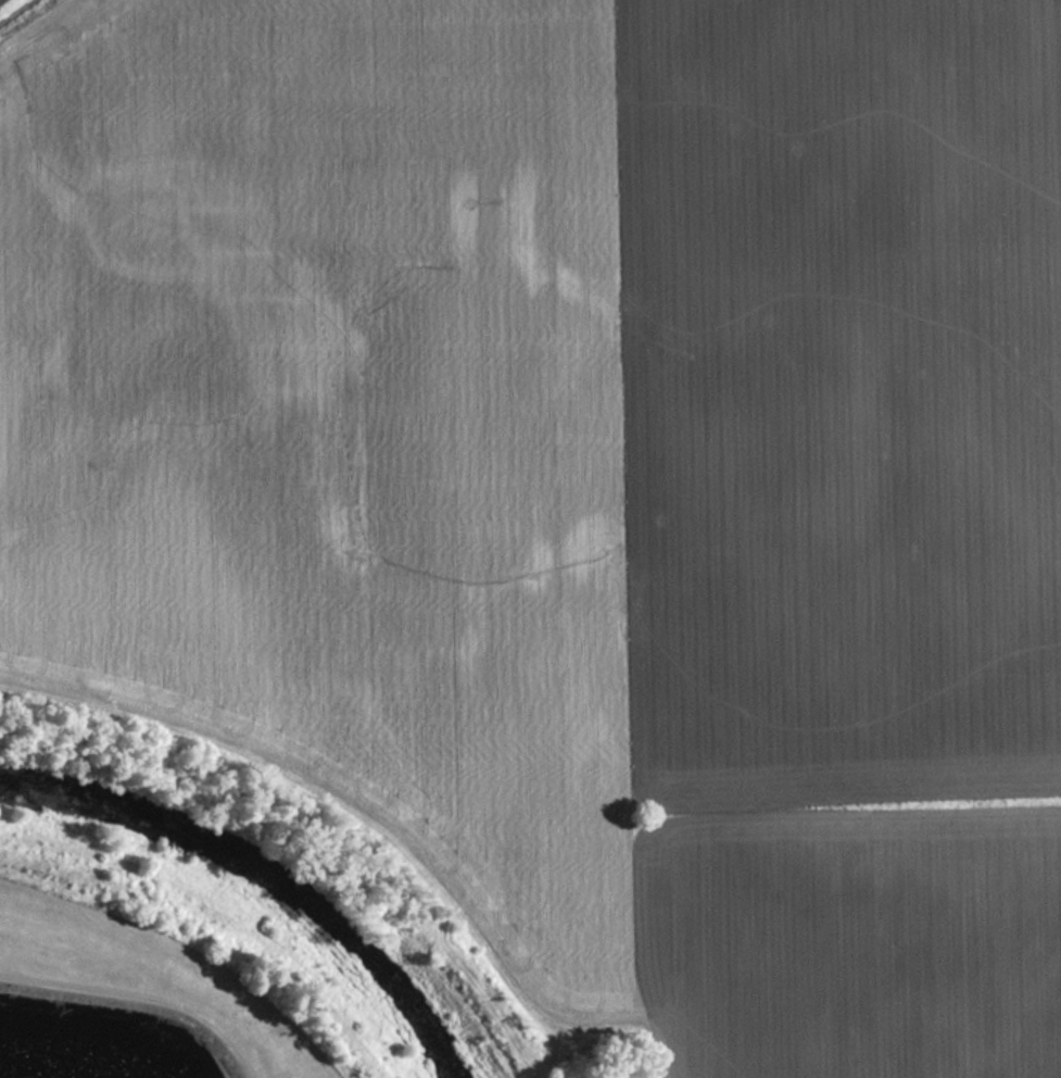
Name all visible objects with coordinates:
river: (269, 873)

